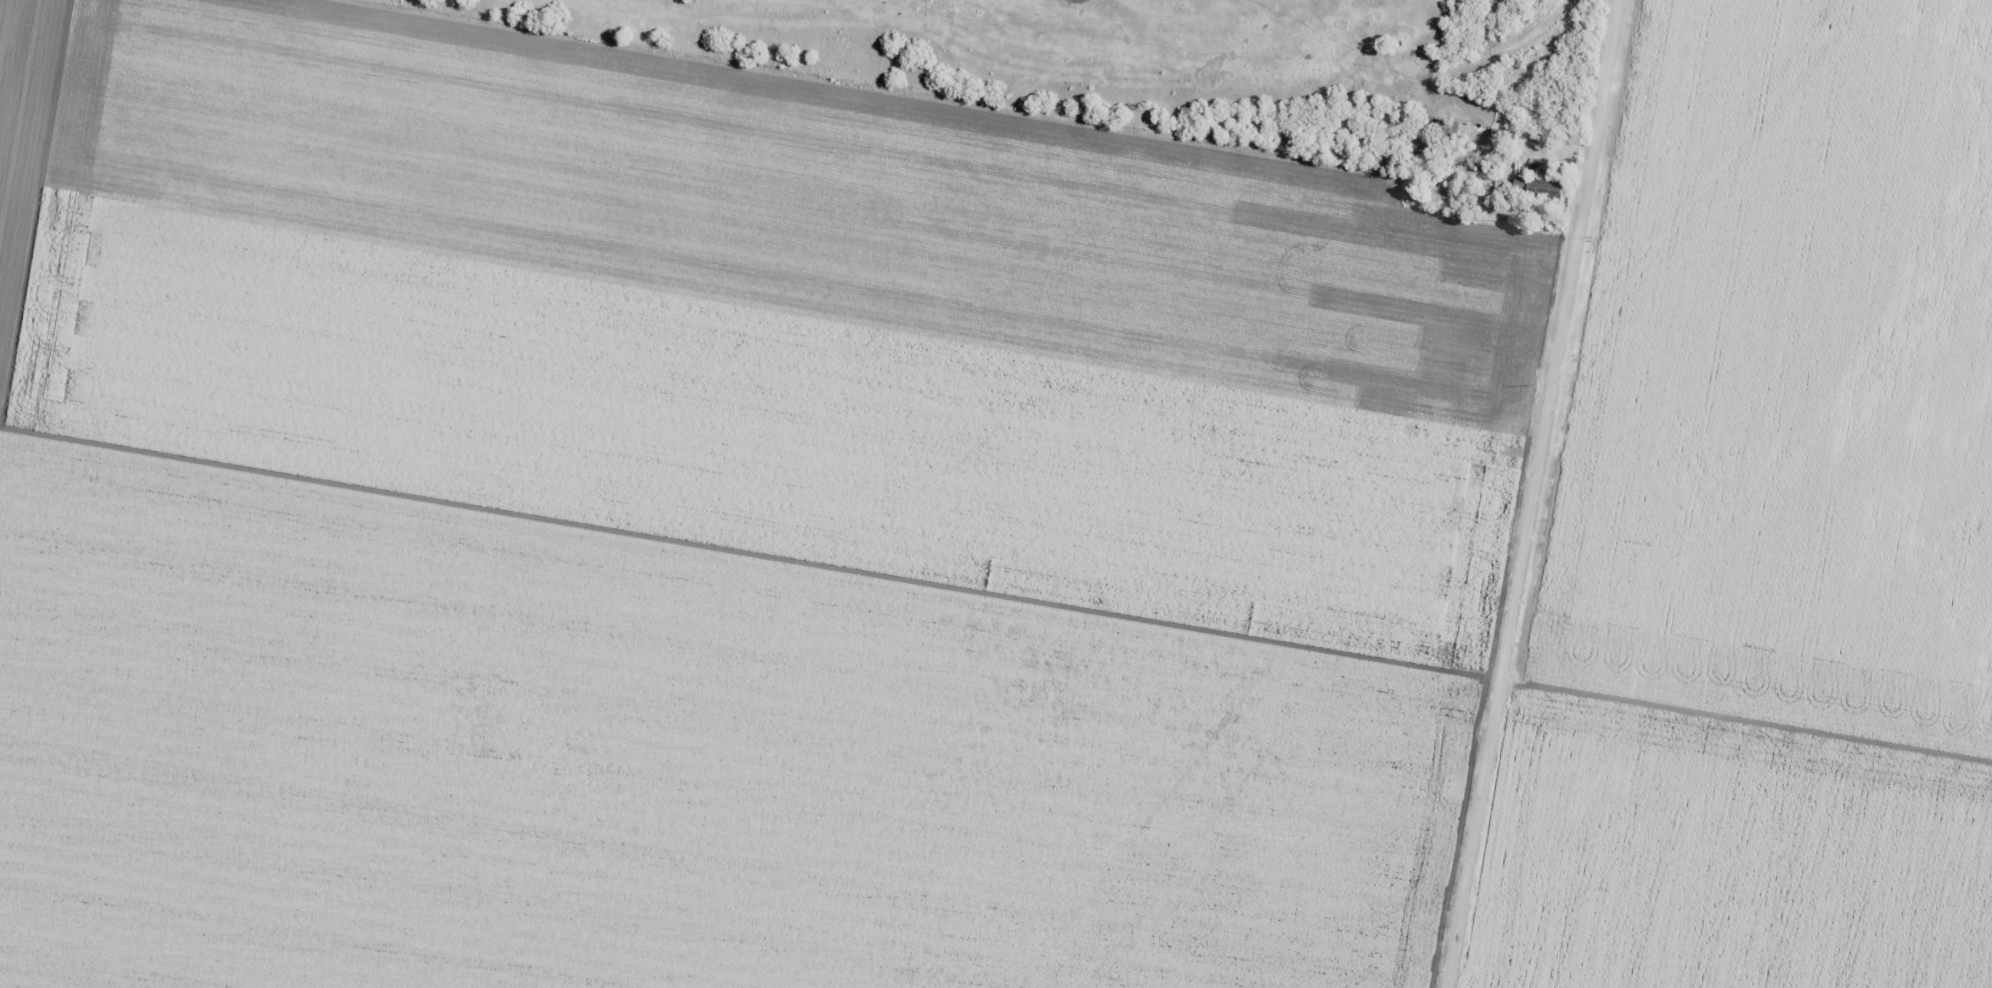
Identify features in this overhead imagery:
building: (1445, 128)
building: (1534, 187)
road: (1536, 494)

